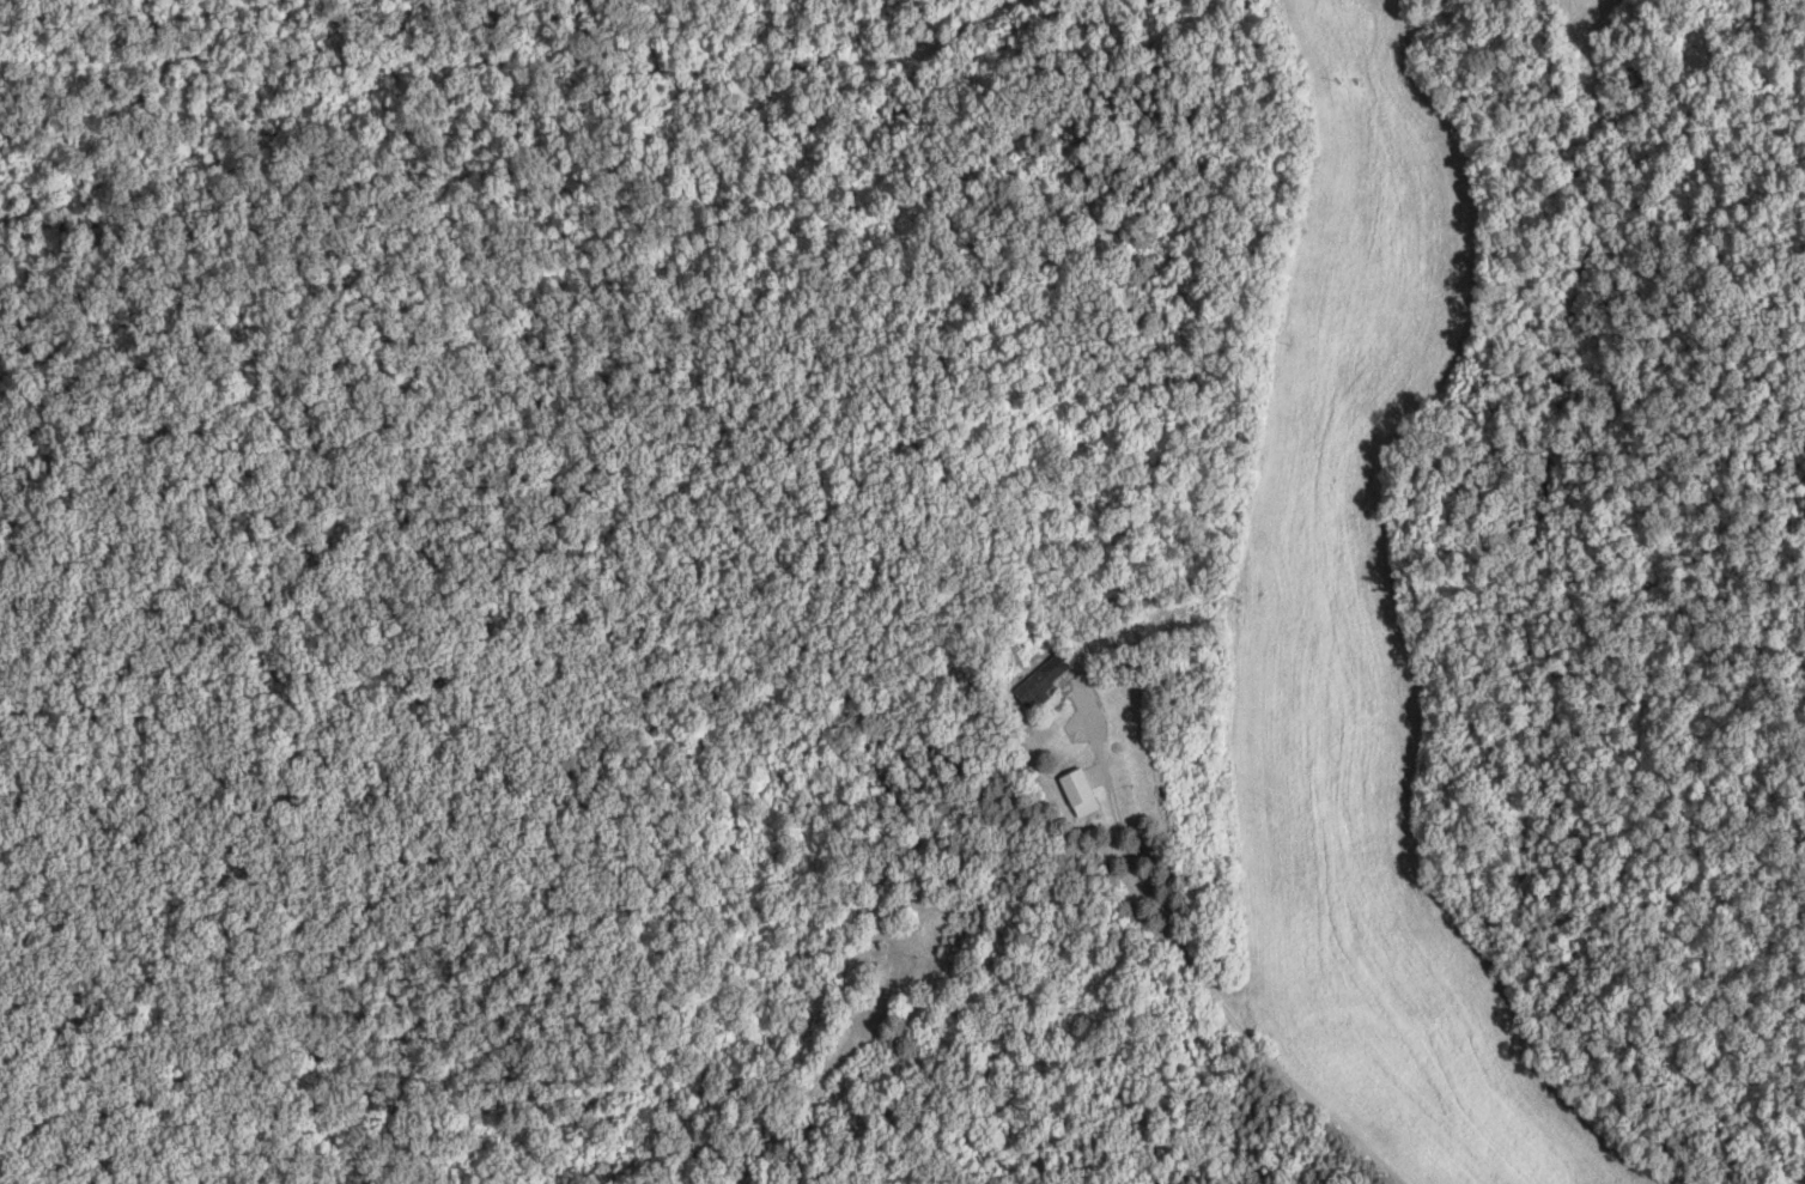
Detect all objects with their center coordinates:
building: (1045, 684)
building: (1083, 793)
road: (1192, 960)

